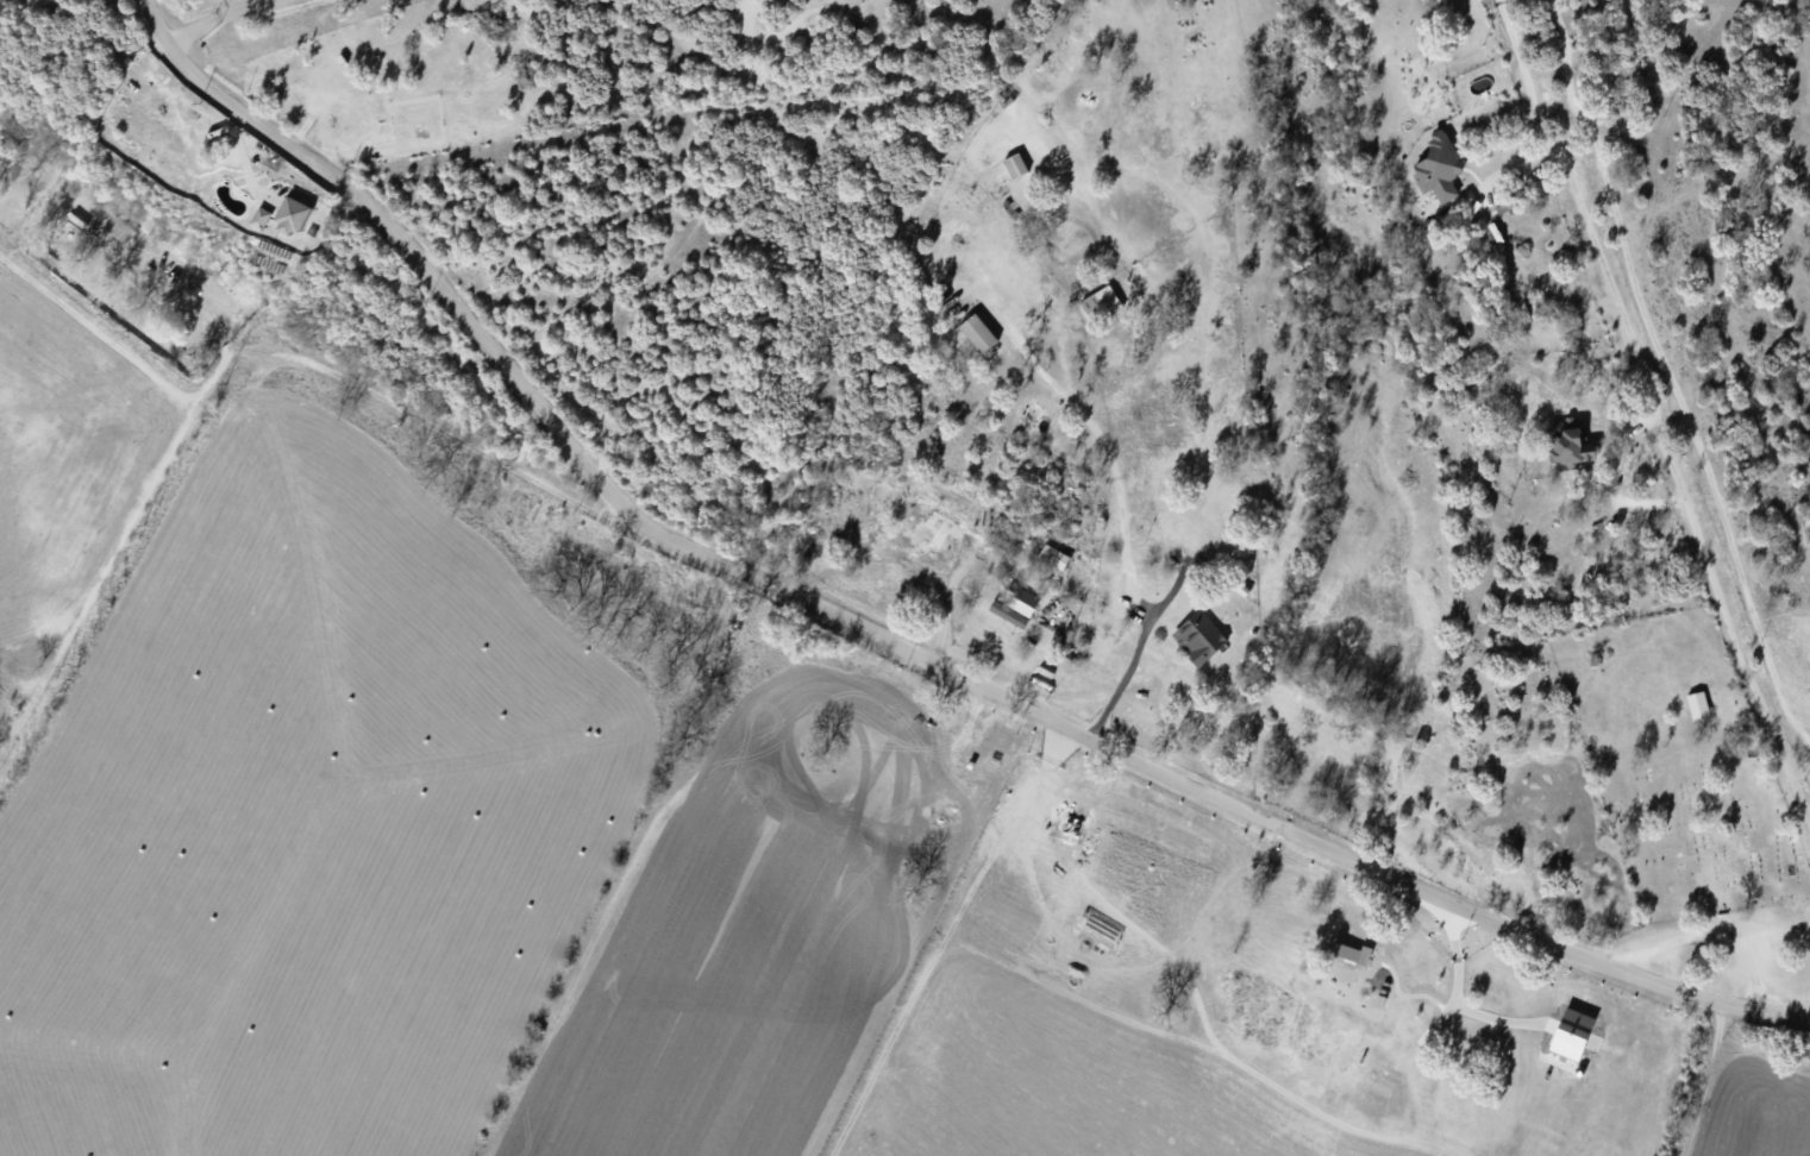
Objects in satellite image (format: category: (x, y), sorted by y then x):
road: (217, 17)
building: (1016, 165)
building: (1440, 167)
building: (294, 215)
building: (262, 216)
building: (1101, 303)
building: (978, 333)
road: (134, 360)
road: (1651, 411)
building: (1571, 442)
road: (1123, 522)
building: (932, 532)
road: (866, 557)
road: (945, 602)
building: (1016, 607)
building: (1201, 637)
road: (883, 639)
building: (1698, 704)
park: (1679, 766)
building: (1352, 953)
road: (1453, 997)
building: (1574, 1034)

